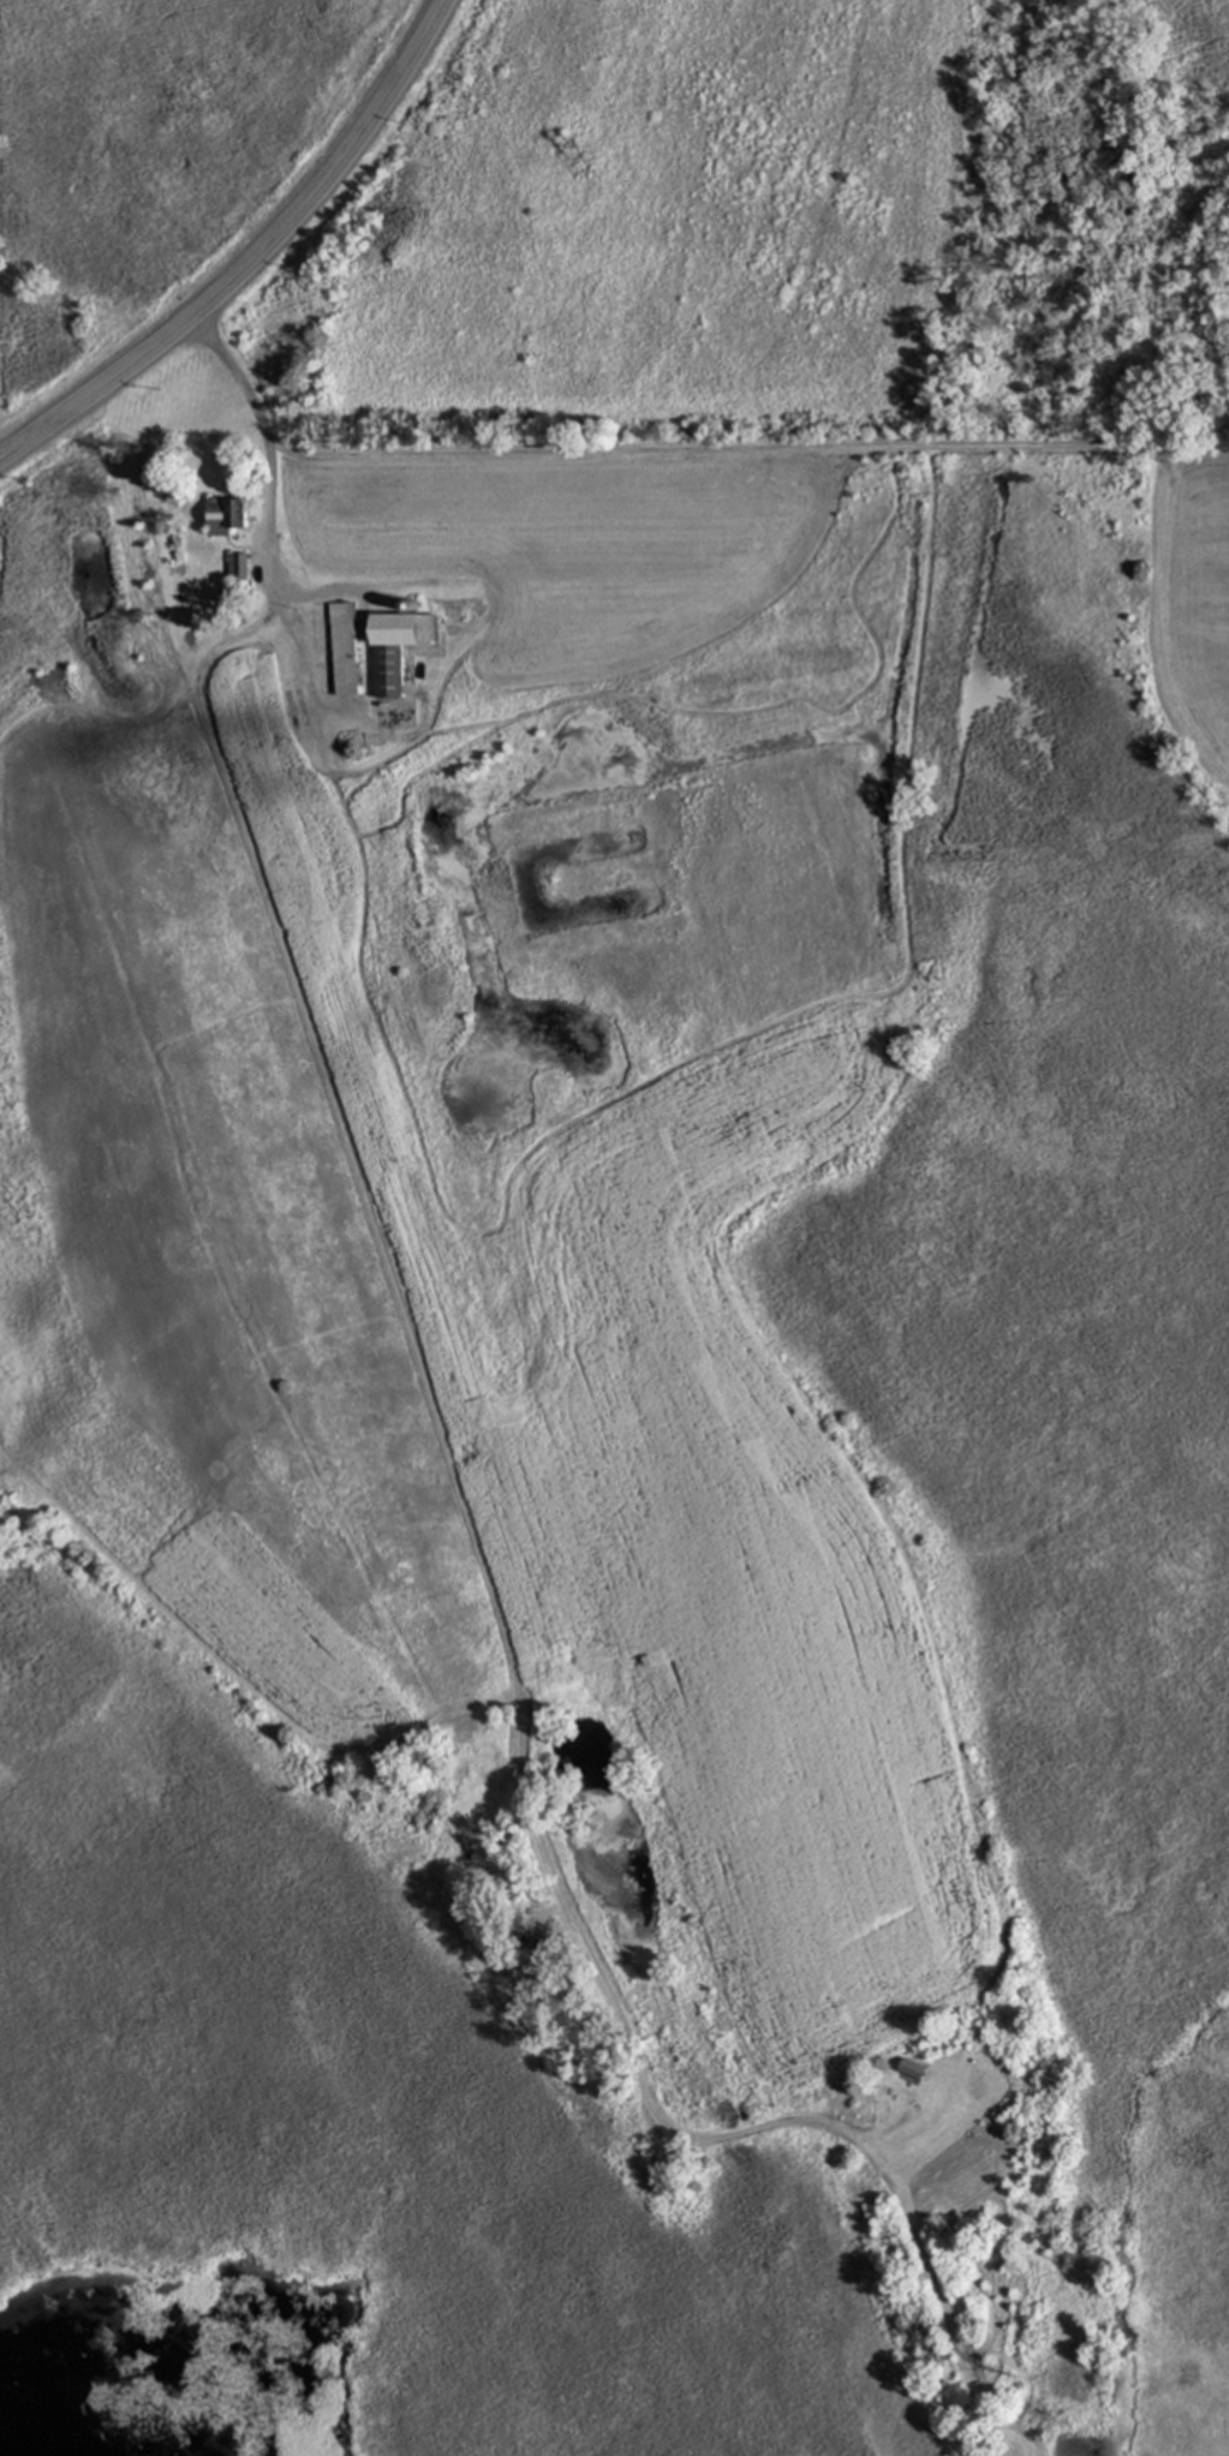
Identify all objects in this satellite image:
road: (253, 261)
road: (261, 440)
building: (233, 515)
building: (402, 647)
building: (346, 653)

